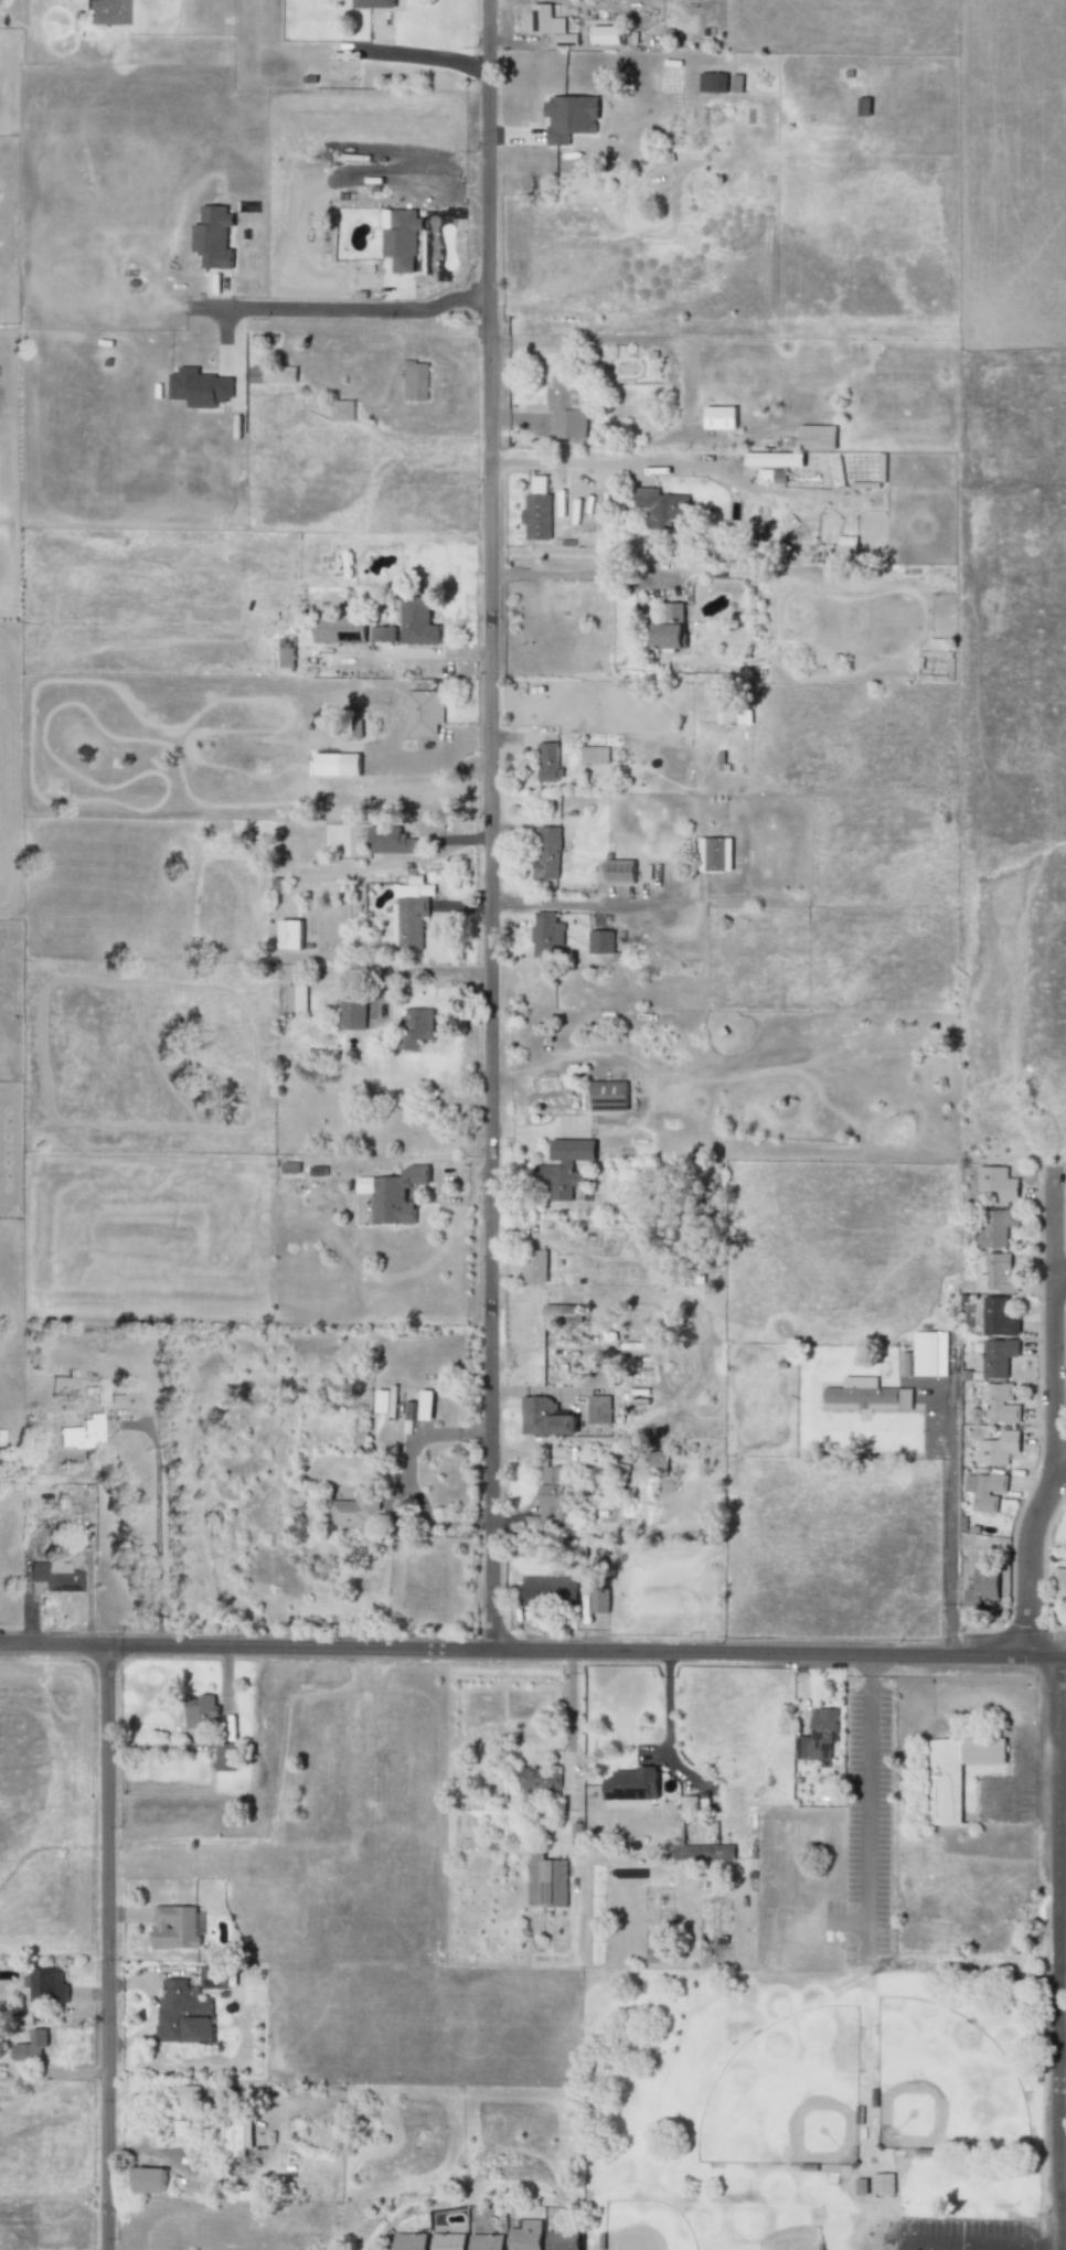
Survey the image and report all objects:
building: (373, 3)
road: (18, 11)
building: (105, 11)
building: (550, 25)
building: (606, 34)
road: (415, 58)
building: (712, 82)
building: (569, 116)
building: (212, 236)
building: (401, 237)
road: (342, 309)
building: (415, 381)
building: (199, 387)
building: (567, 407)
building: (342, 409)
building: (719, 417)
building: (817, 437)
building: (774, 459)
road: (505, 461)
road: (622, 461)
building: (663, 508)
building: (537, 510)
road: (575, 572)
building: (418, 622)
building: (670, 627)
building: (337, 629)
building: (383, 633)
road: (404, 651)
building: (423, 712)
building: (736, 714)
road: (435, 749)
building: (594, 754)
building: (547, 763)
building: (350, 764)
road: (489, 825)
building: (388, 840)
building: (546, 852)
building: (713, 854)
road: (395, 861)
building: (619, 871)
road: (593, 905)
building: (409, 913)
building: (289, 934)
building: (546, 934)
building: (600, 941)
road: (426, 970)
building: (296, 998)
building: (352, 1014)
building: (415, 1026)
building: (608, 1096)
building: (564, 1166)
building: (998, 1182)
building: (393, 1194)
building: (995, 1227)
building: (534, 1266)
building: (1001, 1272)
road: (1062, 1278)
building: (558, 1313)
road: (1056, 1316)
building: (998, 1318)
building: (930, 1353)
building: (998, 1357)
building: (63, 1384)
building: (866, 1395)
building: (384, 1400)
building: (1002, 1403)
building: (425, 1405)
building: (597, 1408)
building: (544, 1418)
building: (82, 1433)
building: (999, 1448)
building: (564, 1454)
road: (1060, 1461)
building: (987, 1491)
building: (552, 1492)
building: (355, 1510)
road: (157, 1524)
road: (949, 1536)
road: (1026, 1557)
building: (54, 1576)
building: (1058, 1583)
building: (982, 1588)
building: (548, 1590)
building: (598, 1599)
road: (533, 1651)
road: (865, 1666)
building: (200, 1710)
road: (571, 1716)
building: (820, 1734)
building: (226, 1757)
building: (956, 1772)
road: (1013, 1772)
building: (537, 1779)
building: (631, 1783)
road: (1035, 1783)
road: (864, 1816)
building: (704, 1853)
building: (545, 1881)
road: (844, 1921)
building: (175, 1927)
road: (107, 1949)
road: (1056, 1954)
building: (46, 1985)
building: (182, 2014)
building: (30, 2047)
building: (185, 2094)
building: (237, 2139)
building: (149, 2179)
road: (1060, 2208)
building: (525, 2236)
building: (563, 2240)
building: (411, 2241)
building: (448, 2241)
building: (487, 2241)
road: (959, 2244)
road: (1037, 2244)
road: (1019, 2247)

